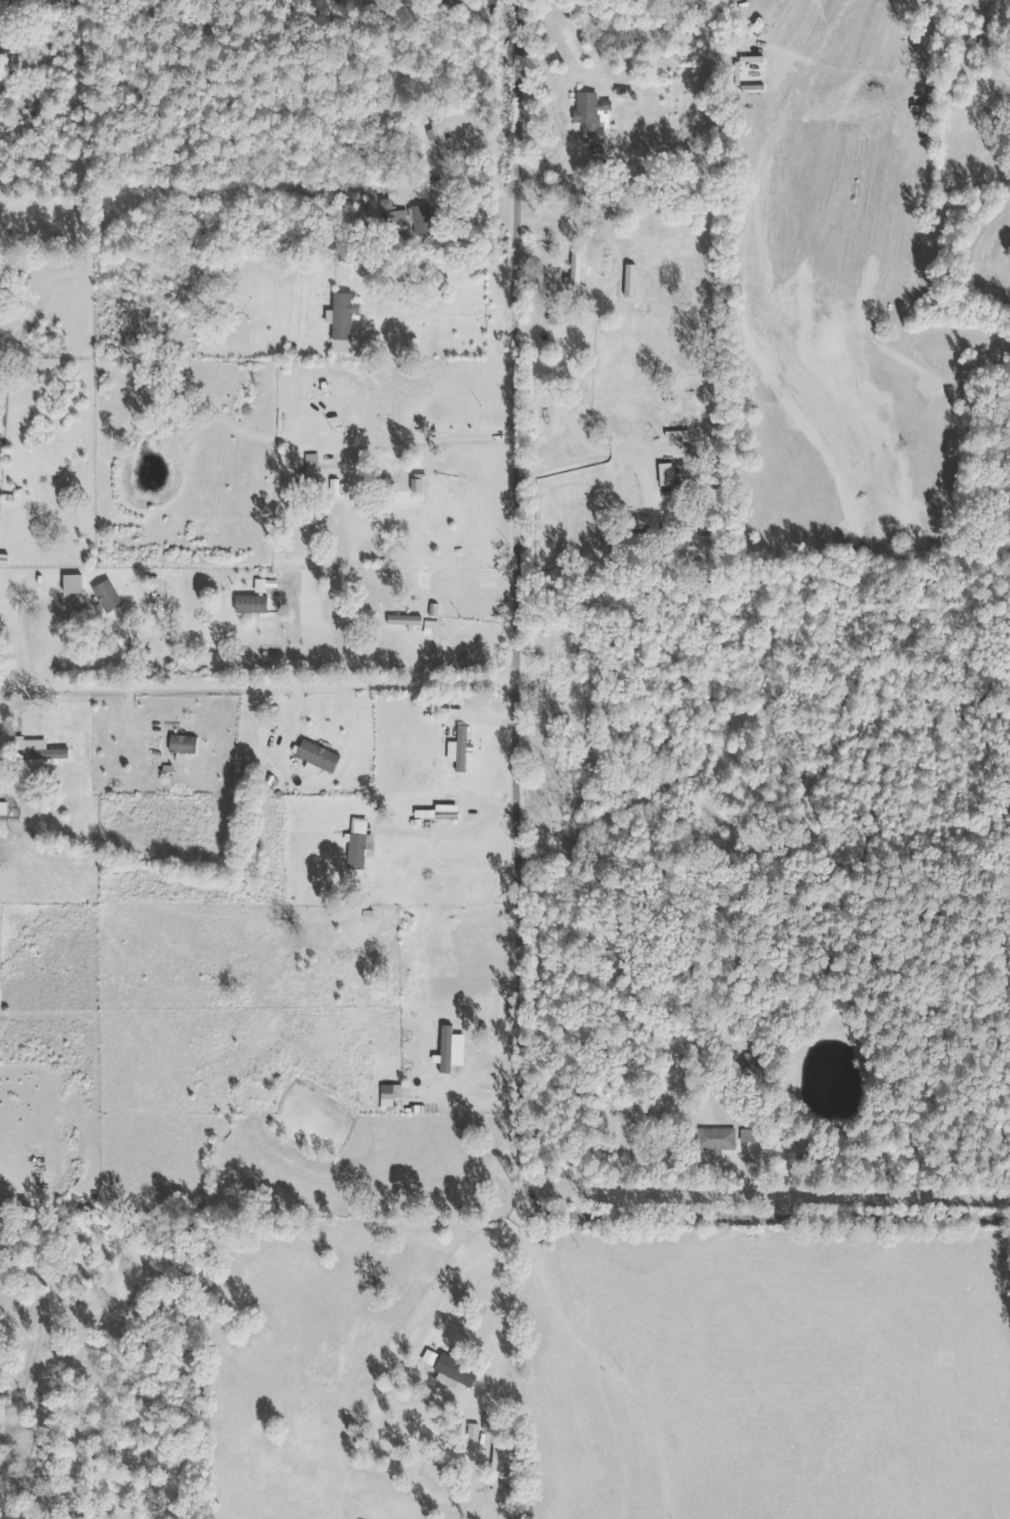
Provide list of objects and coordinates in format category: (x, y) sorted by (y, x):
building: (592, 112)
building: (444, 139)
building: (427, 188)
building: (398, 217)
building: (426, 218)
building: (345, 321)
building: (692, 437)
building: (639, 548)
building: (75, 584)
building: (111, 595)
building: (254, 604)
building: (407, 620)
road: (255, 684)
building: (186, 744)
building: (40, 749)
building: (462, 749)
building: (321, 755)
building: (5, 808)
road: (517, 841)
building: (361, 842)
building: (454, 1049)
building: (390, 1096)
building: (719, 1138)
building: (459, 1373)

